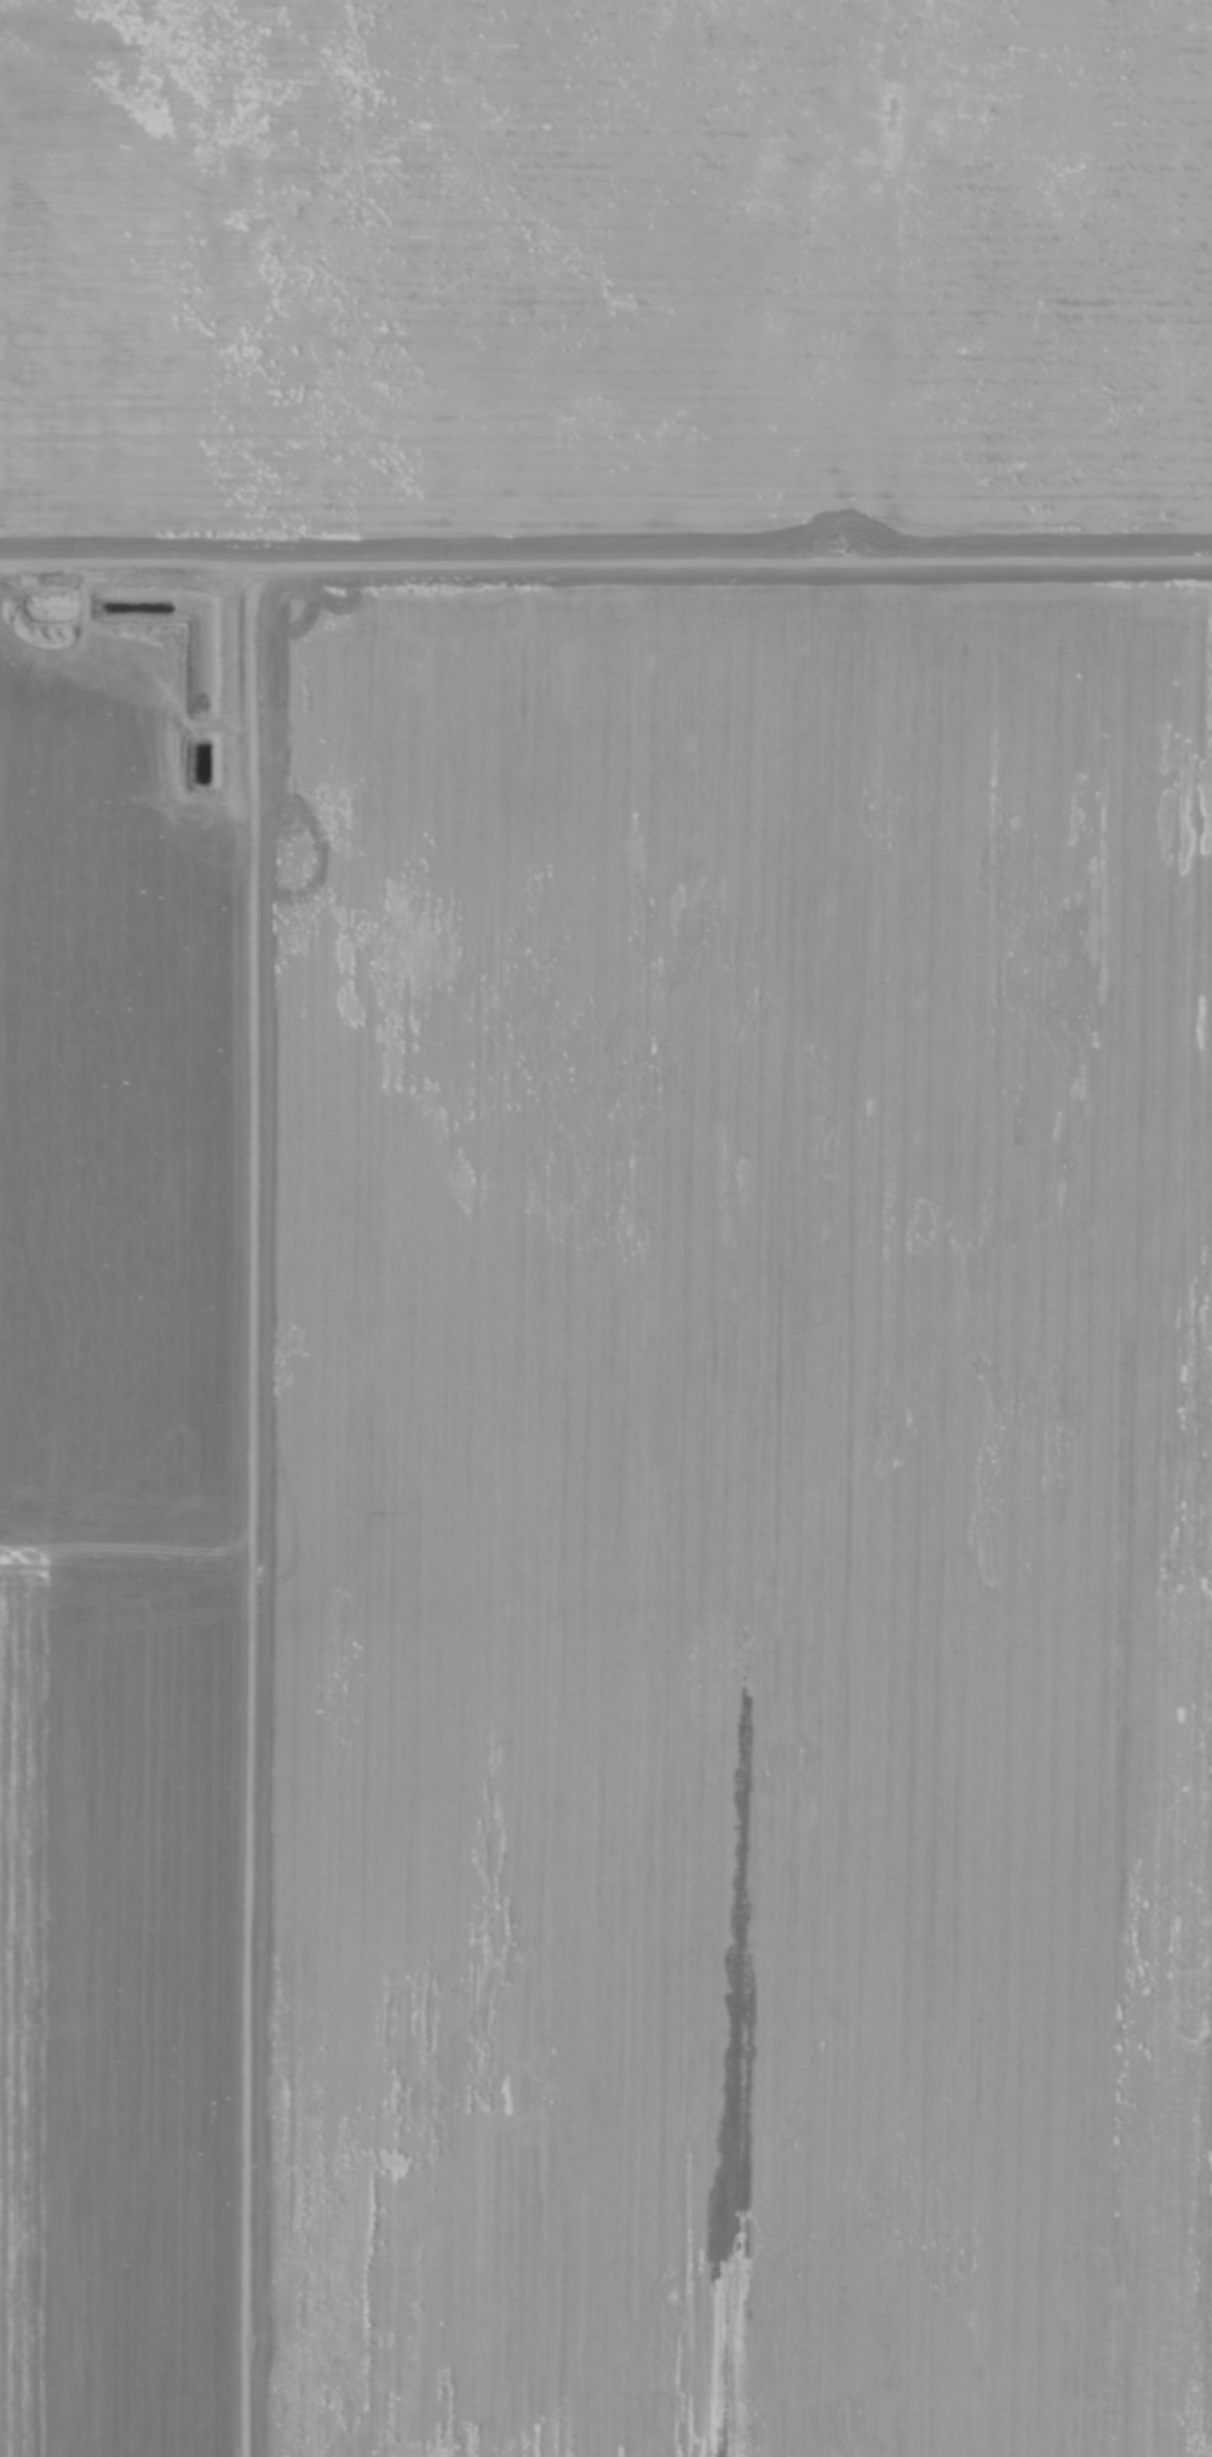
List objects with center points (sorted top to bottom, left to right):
road: (605, 563)
crop: (605, 1228)

